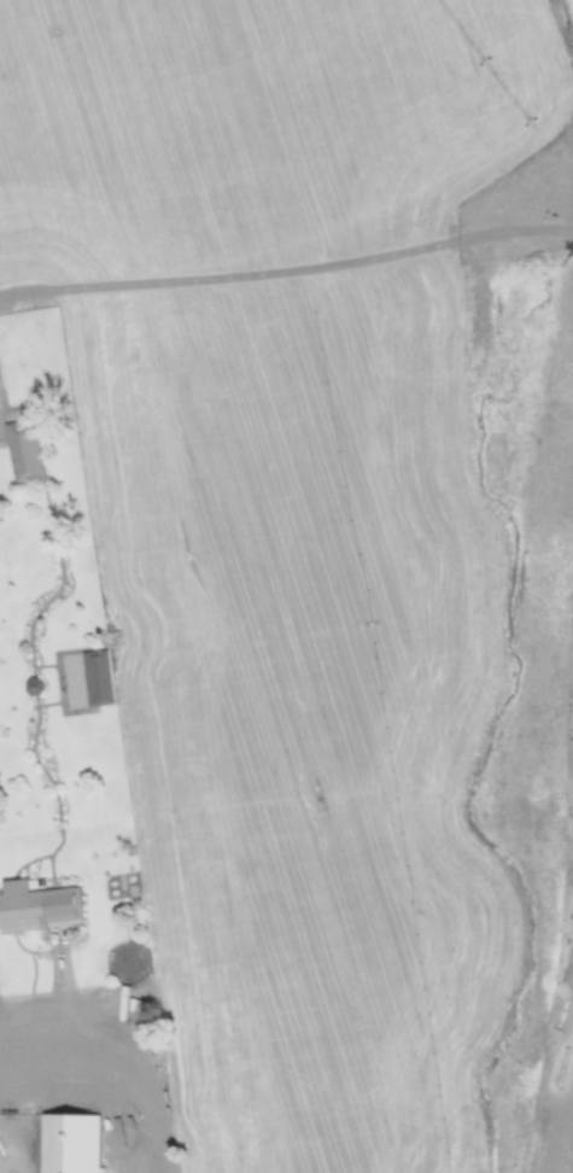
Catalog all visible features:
crop: (262, 127)
building: (23, 455)
crop: (302, 706)
building: (37, 906)
road: (86, 1082)
road: (173, 1143)
building: (69, 1144)

